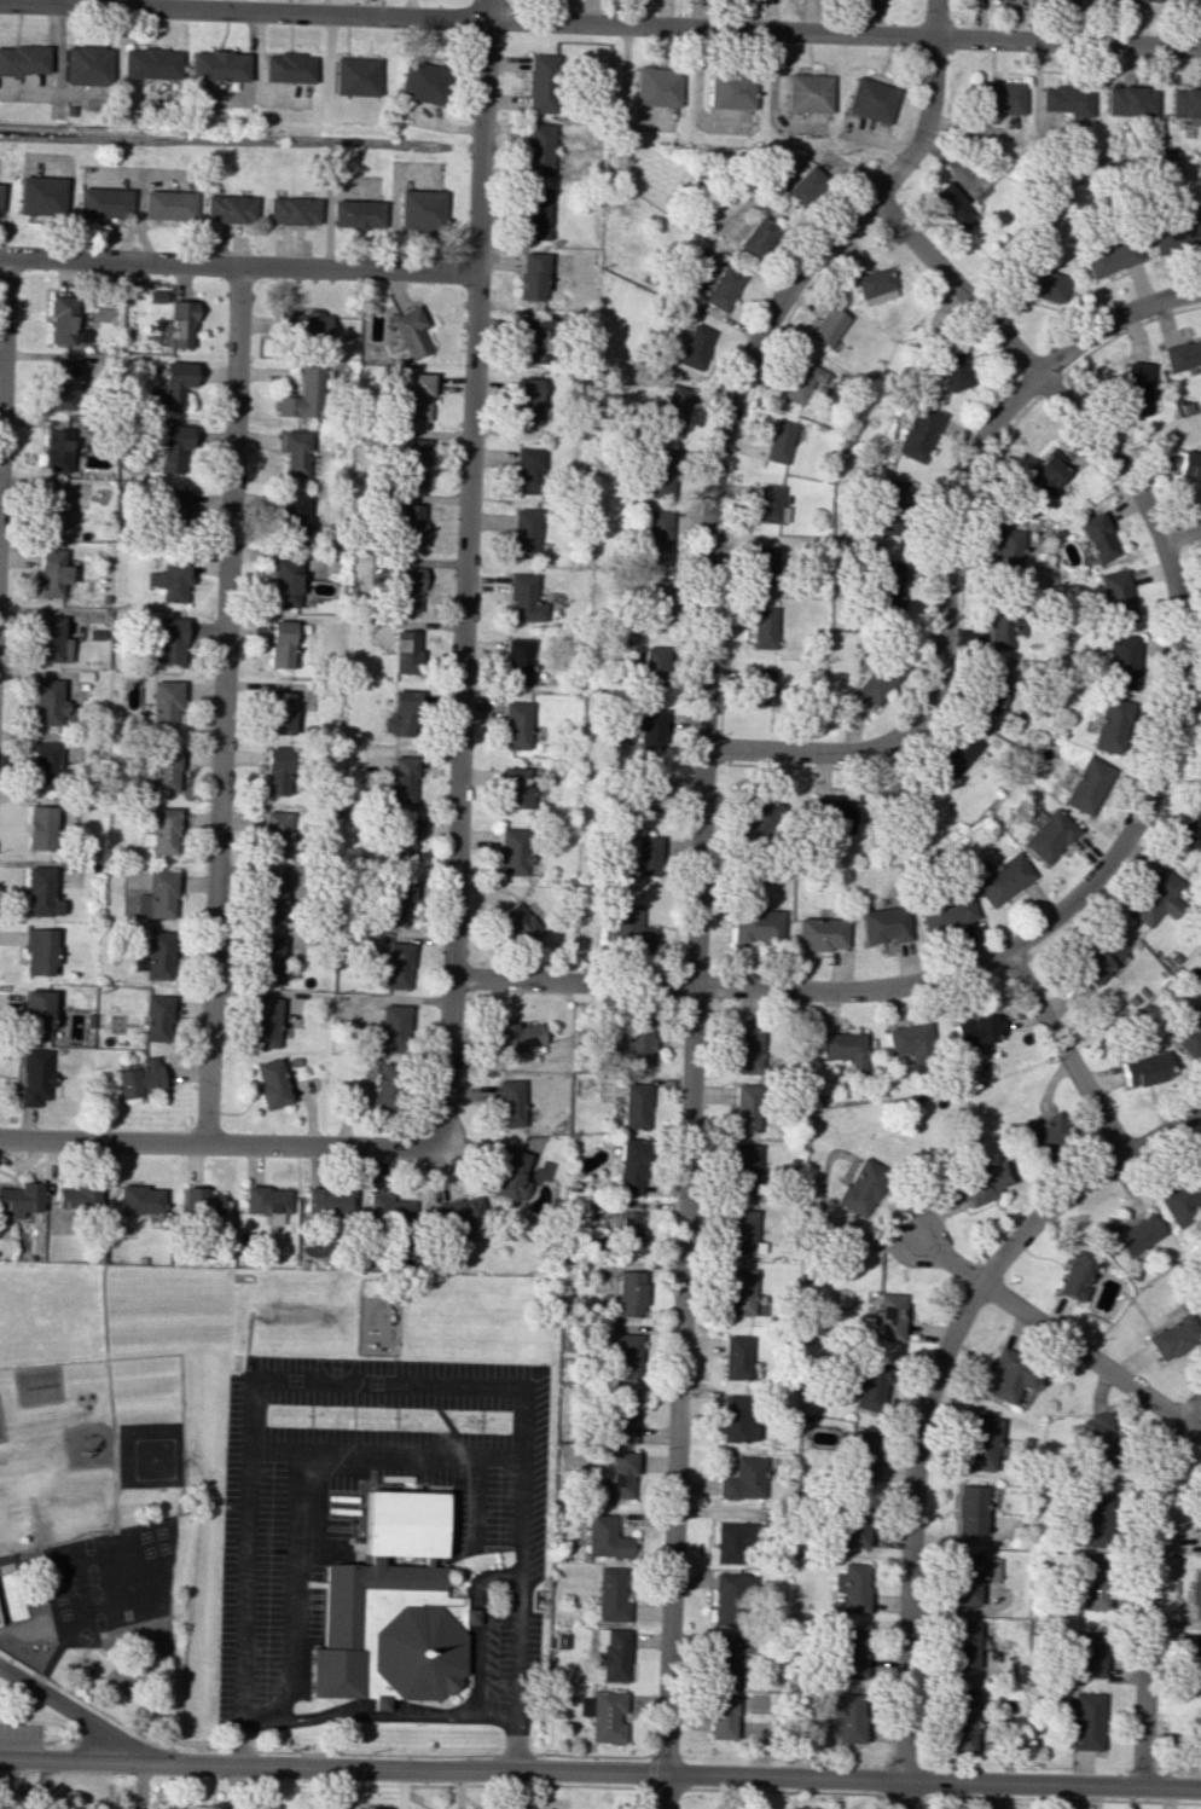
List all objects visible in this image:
building: (1141, 0)
building: (1187, 1)
road: (599, 24)
building: (22, 59)
building: (151, 63)
building: (87, 65)
building: (216, 65)
building: (288, 66)
building: (356, 76)
building: (422, 82)
building: (540, 83)
building: (657, 86)
building: (731, 89)
building: (807, 93)
building: (998, 95)
building: (1067, 98)
building: (870, 99)
building: (1130, 100)
building: (1185, 103)
building: (538, 149)
building: (803, 184)
building: (0, 193)
building: (40, 195)
building: (101, 202)
building: (168, 204)
building: (951, 204)
building: (230, 208)
building: (292, 209)
building: (422, 209)
building: (535, 211)
building: (358, 214)
building: (756, 236)
building: (1176, 236)
building: (1110, 256)
road: (237, 265)
building: (532, 276)
building: (1039, 284)
building: (875, 285)
building: (721, 288)
building: (156, 296)
building: (65, 321)
building: (181, 324)
building: (306, 325)
building: (828, 326)
road: (2, 331)
building: (410, 332)
building: (535, 337)
building: (694, 347)
building: (1182, 354)
building: (951, 365)
building: (802, 381)
building: (63, 384)
building: (174, 384)
building: (1137, 388)
building: (304, 395)
building: (418, 396)
building: (526, 400)
building: (673, 411)
building: (918, 431)
building: (779, 441)
building: (173, 447)
building: (56, 450)
building: (294, 452)
building: (413, 462)
building: (1190, 464)
building: (526, 469)
building: (661, 472)
building: (1045, 475)
building: (768, 503)
building: (54, 509)
building: (173, 509)
building: (894, 510)
building: (290, 521)
building: (411, 524)
building: (523, 532)
road: (1180, 534)
building: (656, 537)
building: (1097, 537)
building: (1008, 552)
road: (948, 556)
building: (765, 564)
building: (51, 572)
road: (464, 572)
building: (170, 578)
building: (284, 582)
building: (408, 588)
building: (888, 588)
building: (1116, 597)
building: (522, 598)
building: (654, 599)
building: (1003, 625)
building: (762, 627)
building: (51, 639)
building: (168, 642)
building: (280, 644)
building: (406, 651)
building: (517, 661)
building: (1122, 661)
building: (652, 665)
building: (878, 678)
building: (760, 686)
building: (991, 690)
building: (48, 703)
road: (222, 703)
building: (166, 705)
building: (400, 711)
building: (279, 713)
building: (516, 724)
building: (1110, 726)
building: (649, 729)
building: (957, 753)
building: (45, 766)
building: (163, 770)
building: (278, 771)
building: (401, 779)
building: (1089, 785)
building: (517, 787)
building: (646, 793)
building: (901, 793)
building: (834, 811)
building: (758, 819)
road: (1133, 822)
building: (1190, 827)
building: (42, 828)
building: (162, 831)
building: (274, 835)
building: (1049, 835)
building: (401, 839)
building: (512, 851)
road: (697, 853)
building: (642, 857)
building: (1003, 879)
building: (41, 893)
building: (157, 895)
building: (1156, 897)
building: (273, 898)
building: (394, 903)
building: (947, 911)
building: (518, 924)
building: (755, 924)
building: (882, 924)
building: (628, 927)
building: (820, 933)
building: (40, 951)
building: (156, 956)
building: (1098, 958)
building: (268, 961)
building: (395, 966)
building: (39, 1011)
building: (157, 1017)
building: (267, 1022)
building: (390, 1030)
building: (976, 1030)
building: (1189, 1033)
building: (517, 1037)
building: (638, 1043)
building: (911, 1043)
building: (747, 1048)
building: (845, 1049)
road: (1064, 1053)
building: (1144, 1068)
building: (35, 1075)
building: (139, 1078)
building: (272, 1083)
building: (382, 1084)
building: (509, 1103)
building: (634, 1106)
building: (745, 1108)
building: (1049, 1132)
road: (221, 1142)
building: (629, 1166)
building: (744, 1169)
building: (510, 1175)
building: (984, 1183)
building: (861, 1187)
building: (76, 1194)
building: (1183, 1195)
building: (19, 1198)
building: (140, 1200)
building: (329, 1201)
building: (267, 1202)
building: (201, 1205)
building: (390, 1210)
building: (459, 1214)
building: (625, 1231)
building: (742, 1231)
building: (1132, 1231)
building: (1077, 1270)
building: (739, 1292)
building: (628, 1293)
building: (889, 1316)
building: (1172, 1335)
road: (1058, 1338)
building: (626, 1356)
building: (736, 1357)
building: (1013, 1375)
road: (387, 1382)
road: (932, 1384)
building: (870, 1386)
park: (108, 1395)
road: (111, 1410)
building: (621, 1416)
building: (736, 1420)
building: (1095, 1440)
building: (981, 1442)
road: (387, 1453)
building: (859, 1454)
building: (619, 1477)
building: (744, 1479)
road: (29, 1485)
road: (480, 1501)
building: (969, 1509)
building: (1095, 1521)
building: (855, 1525)
building: (1199, 1525)
building: (607, 1537)
building: (733, 1542)
building: (970, 1576)
building: (1090, 1584)
road: (1144, 1584)
road: (294, 1588)
building: (852, 1588)
building: (1195, 1593)
building: (611, 1595)
building: (731, 1599)
building: (393, 1607)
road: (476, 1627)
road: (65, 1642)
building: (962, 1645)
building: (613, 1653)
building: (852, 1653)
building: (1089, 1654)
building: (1196, 1657)
building: (727, 1658)
road: (23, 1666)
road: (378, 1714)
road: (74, 1715)
building: (604, 1715)
building: (846, 1715)
building: (721, 1716)
building: (961, 1720)
building: (1085, 1721)
road: (41, 1723)
building: (1195, 1727)
road: (130, 1732)
road: (599, 1773)
road: (12, 1784)
road: (665, 1792)
road: (900, 1794)

